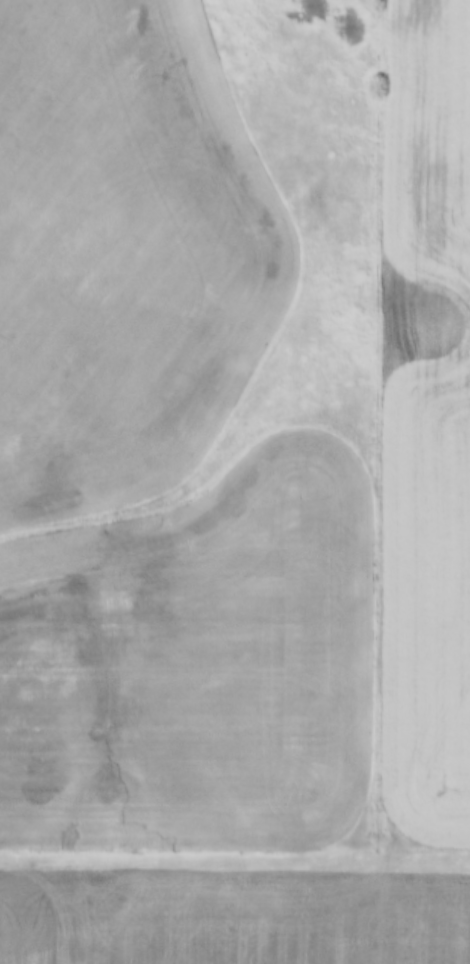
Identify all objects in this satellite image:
road: (235, 881)

